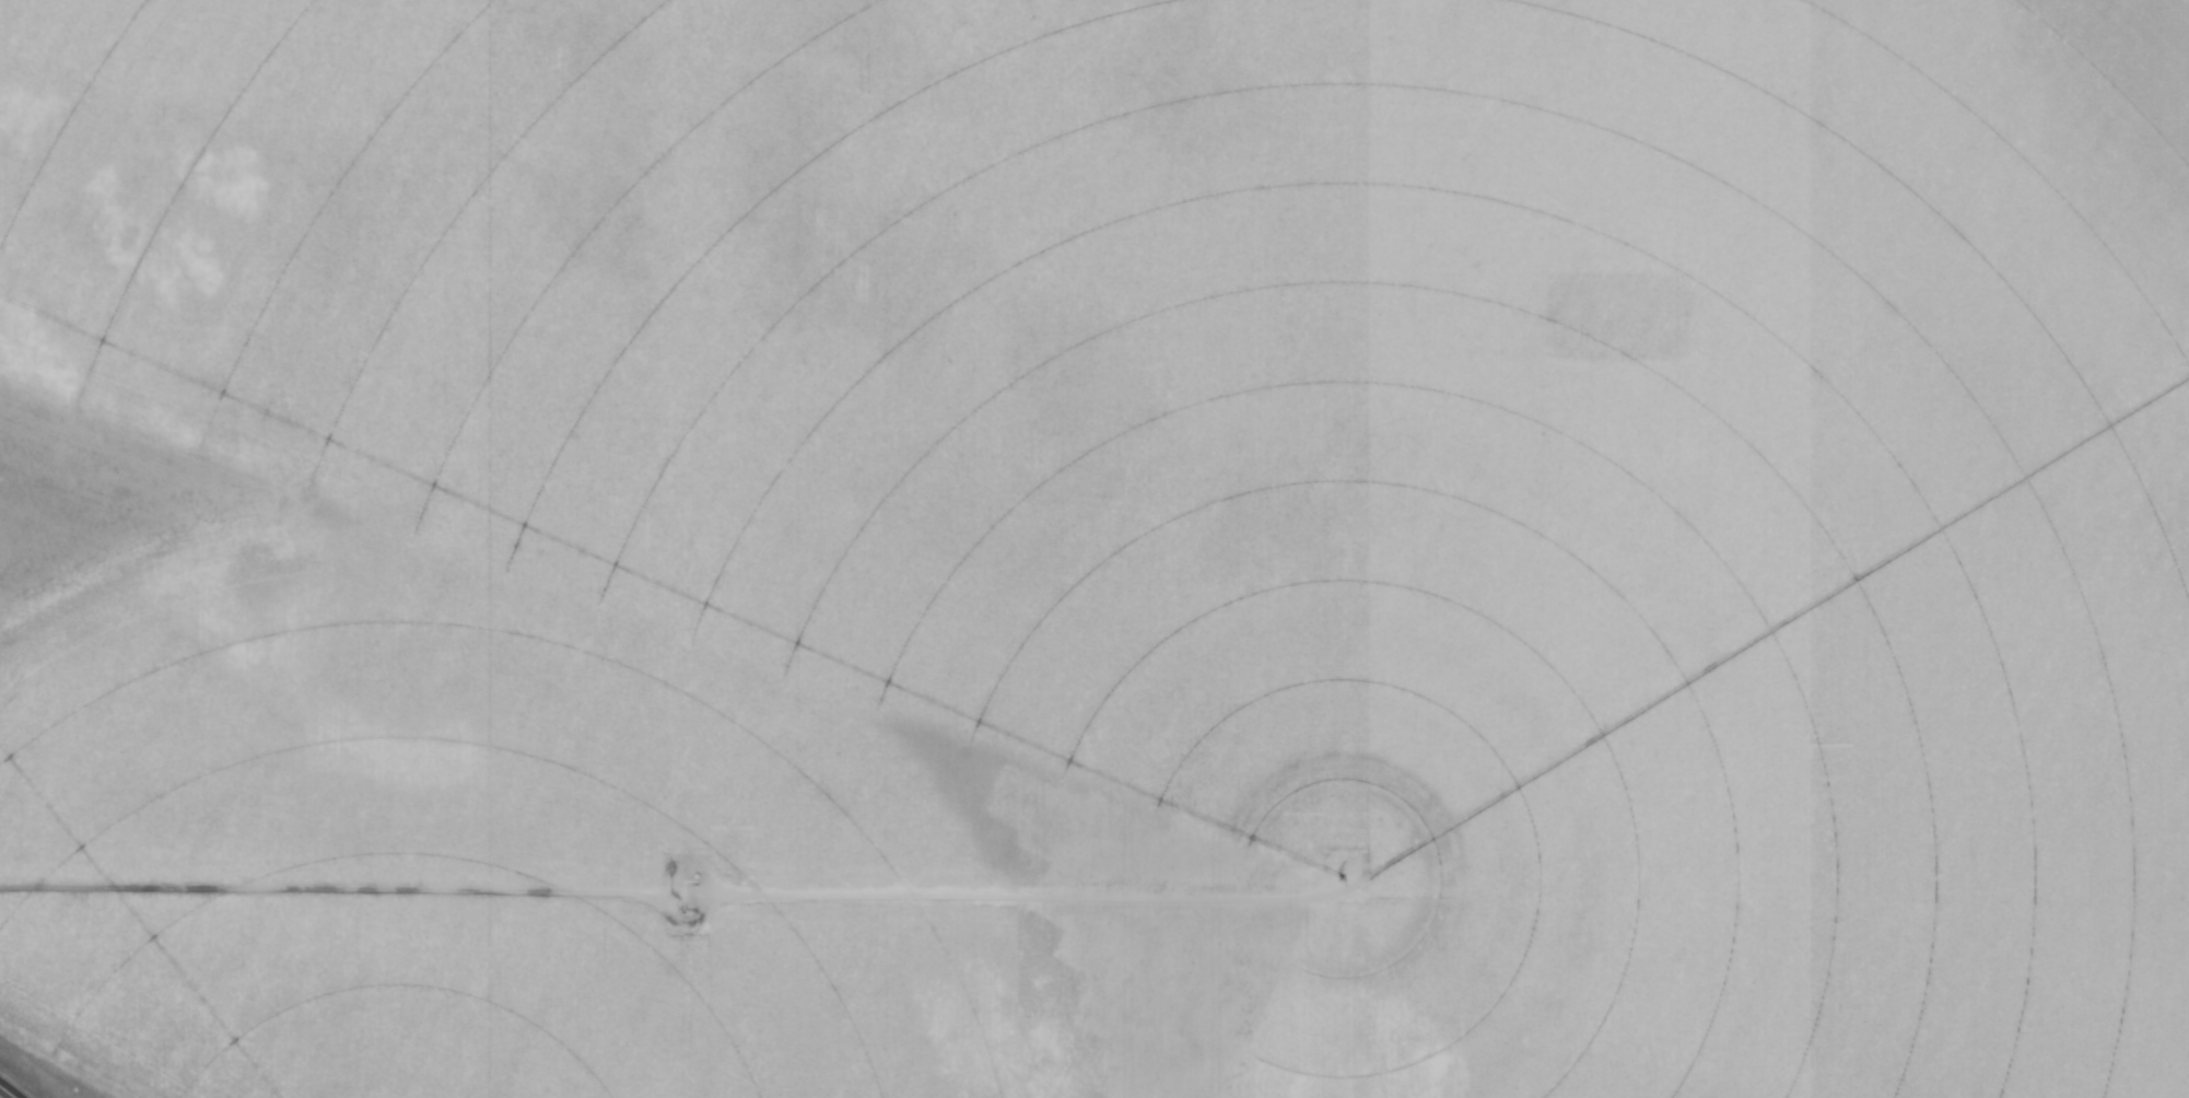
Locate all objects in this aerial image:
road: (5, 1094)

